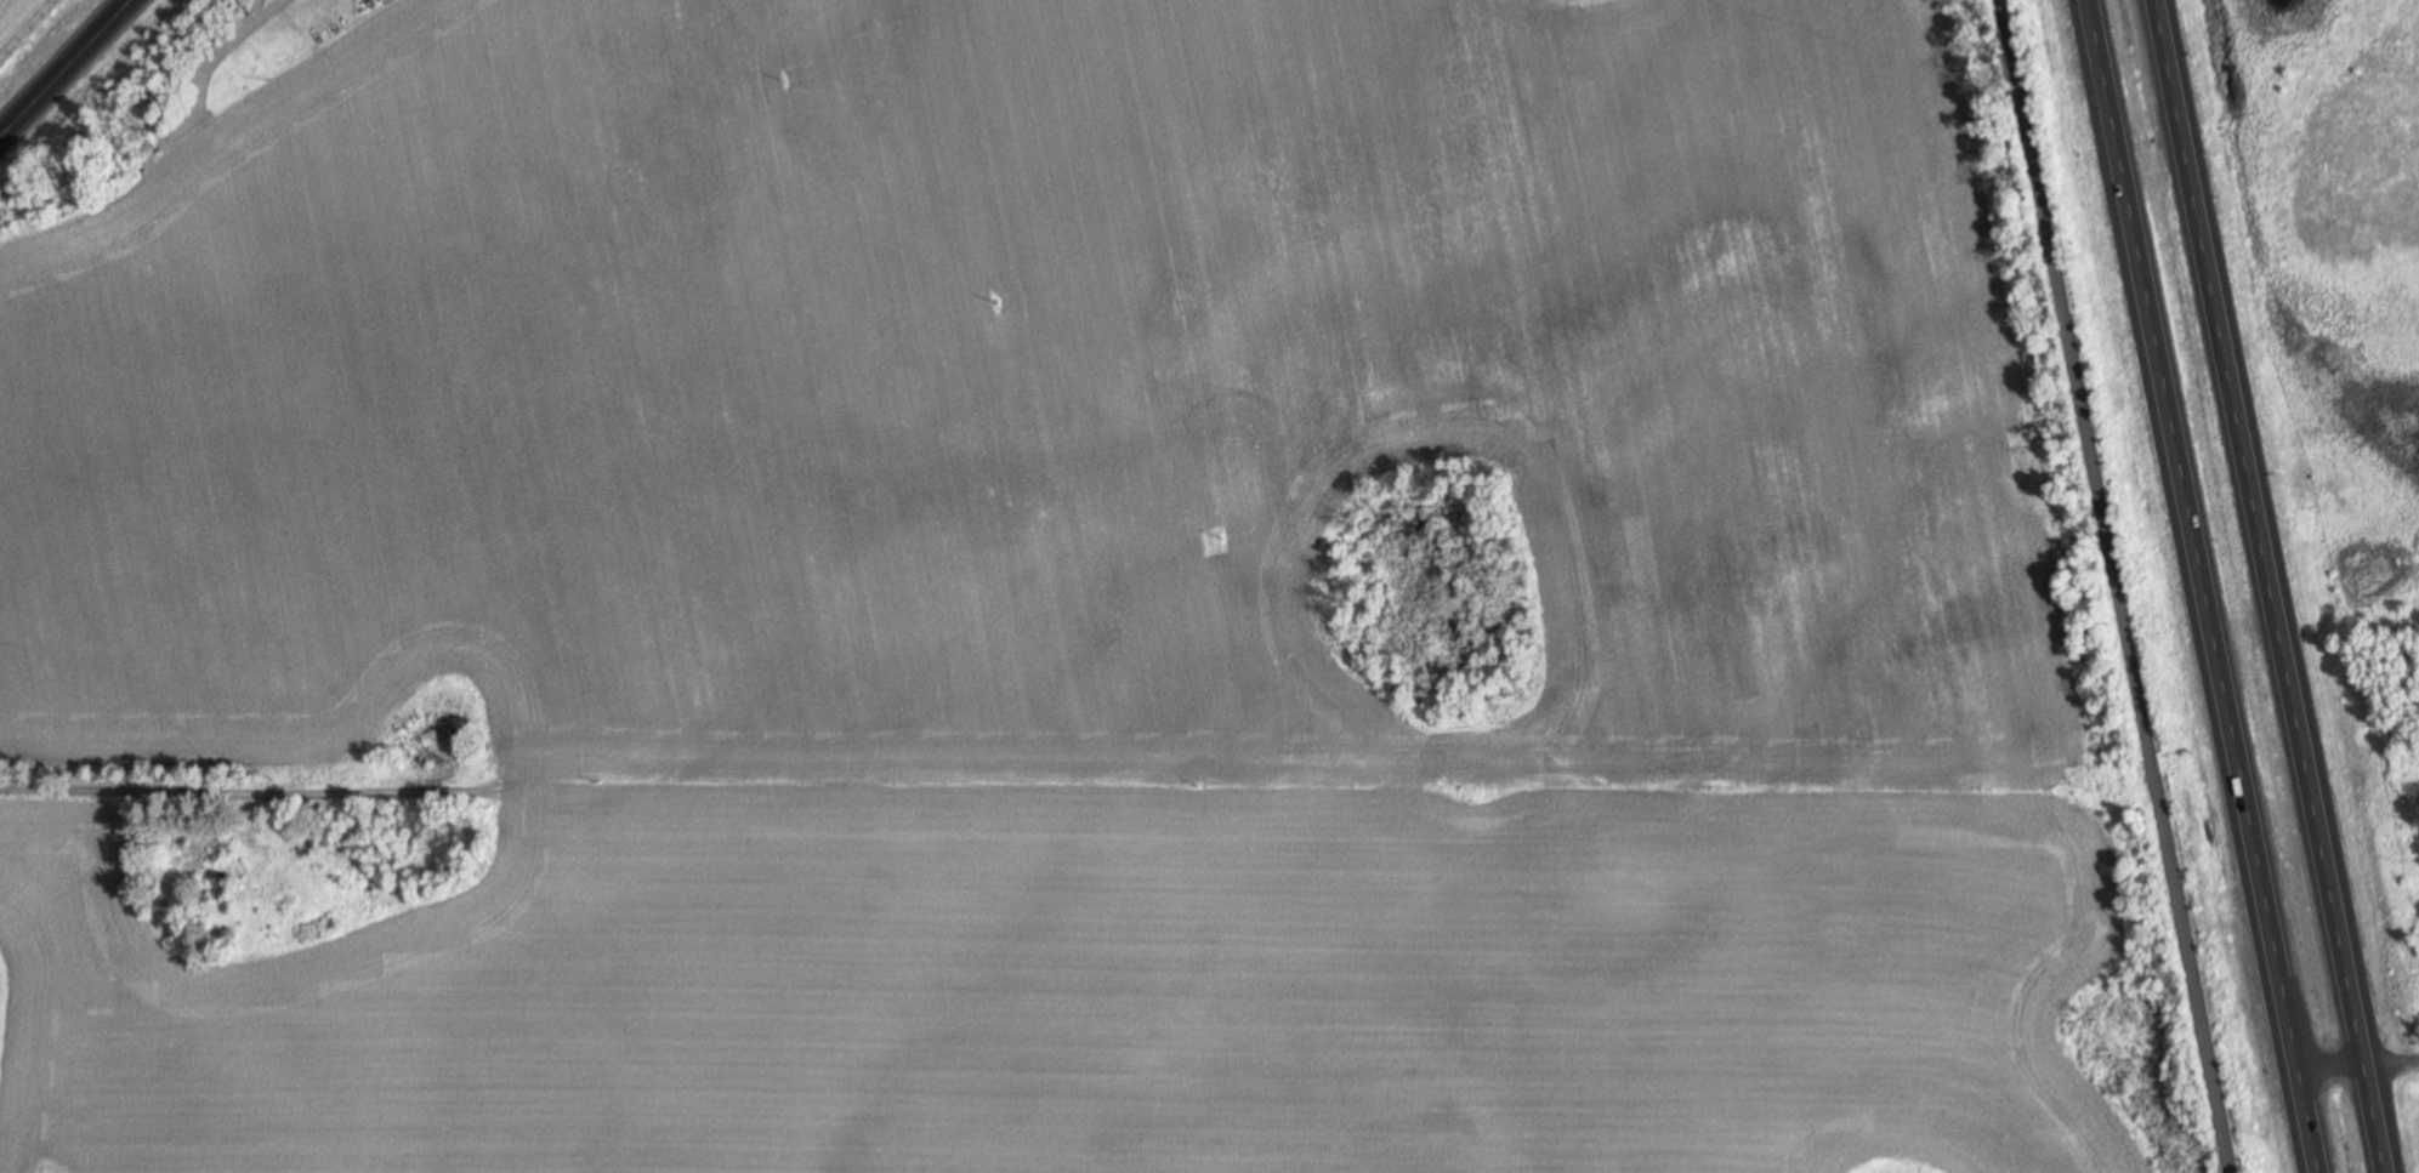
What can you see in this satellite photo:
road: (68, 72)
road: (2113, 586)
road: (2209, 586)
road: (2268, 586)
road: (2360, 1061)

